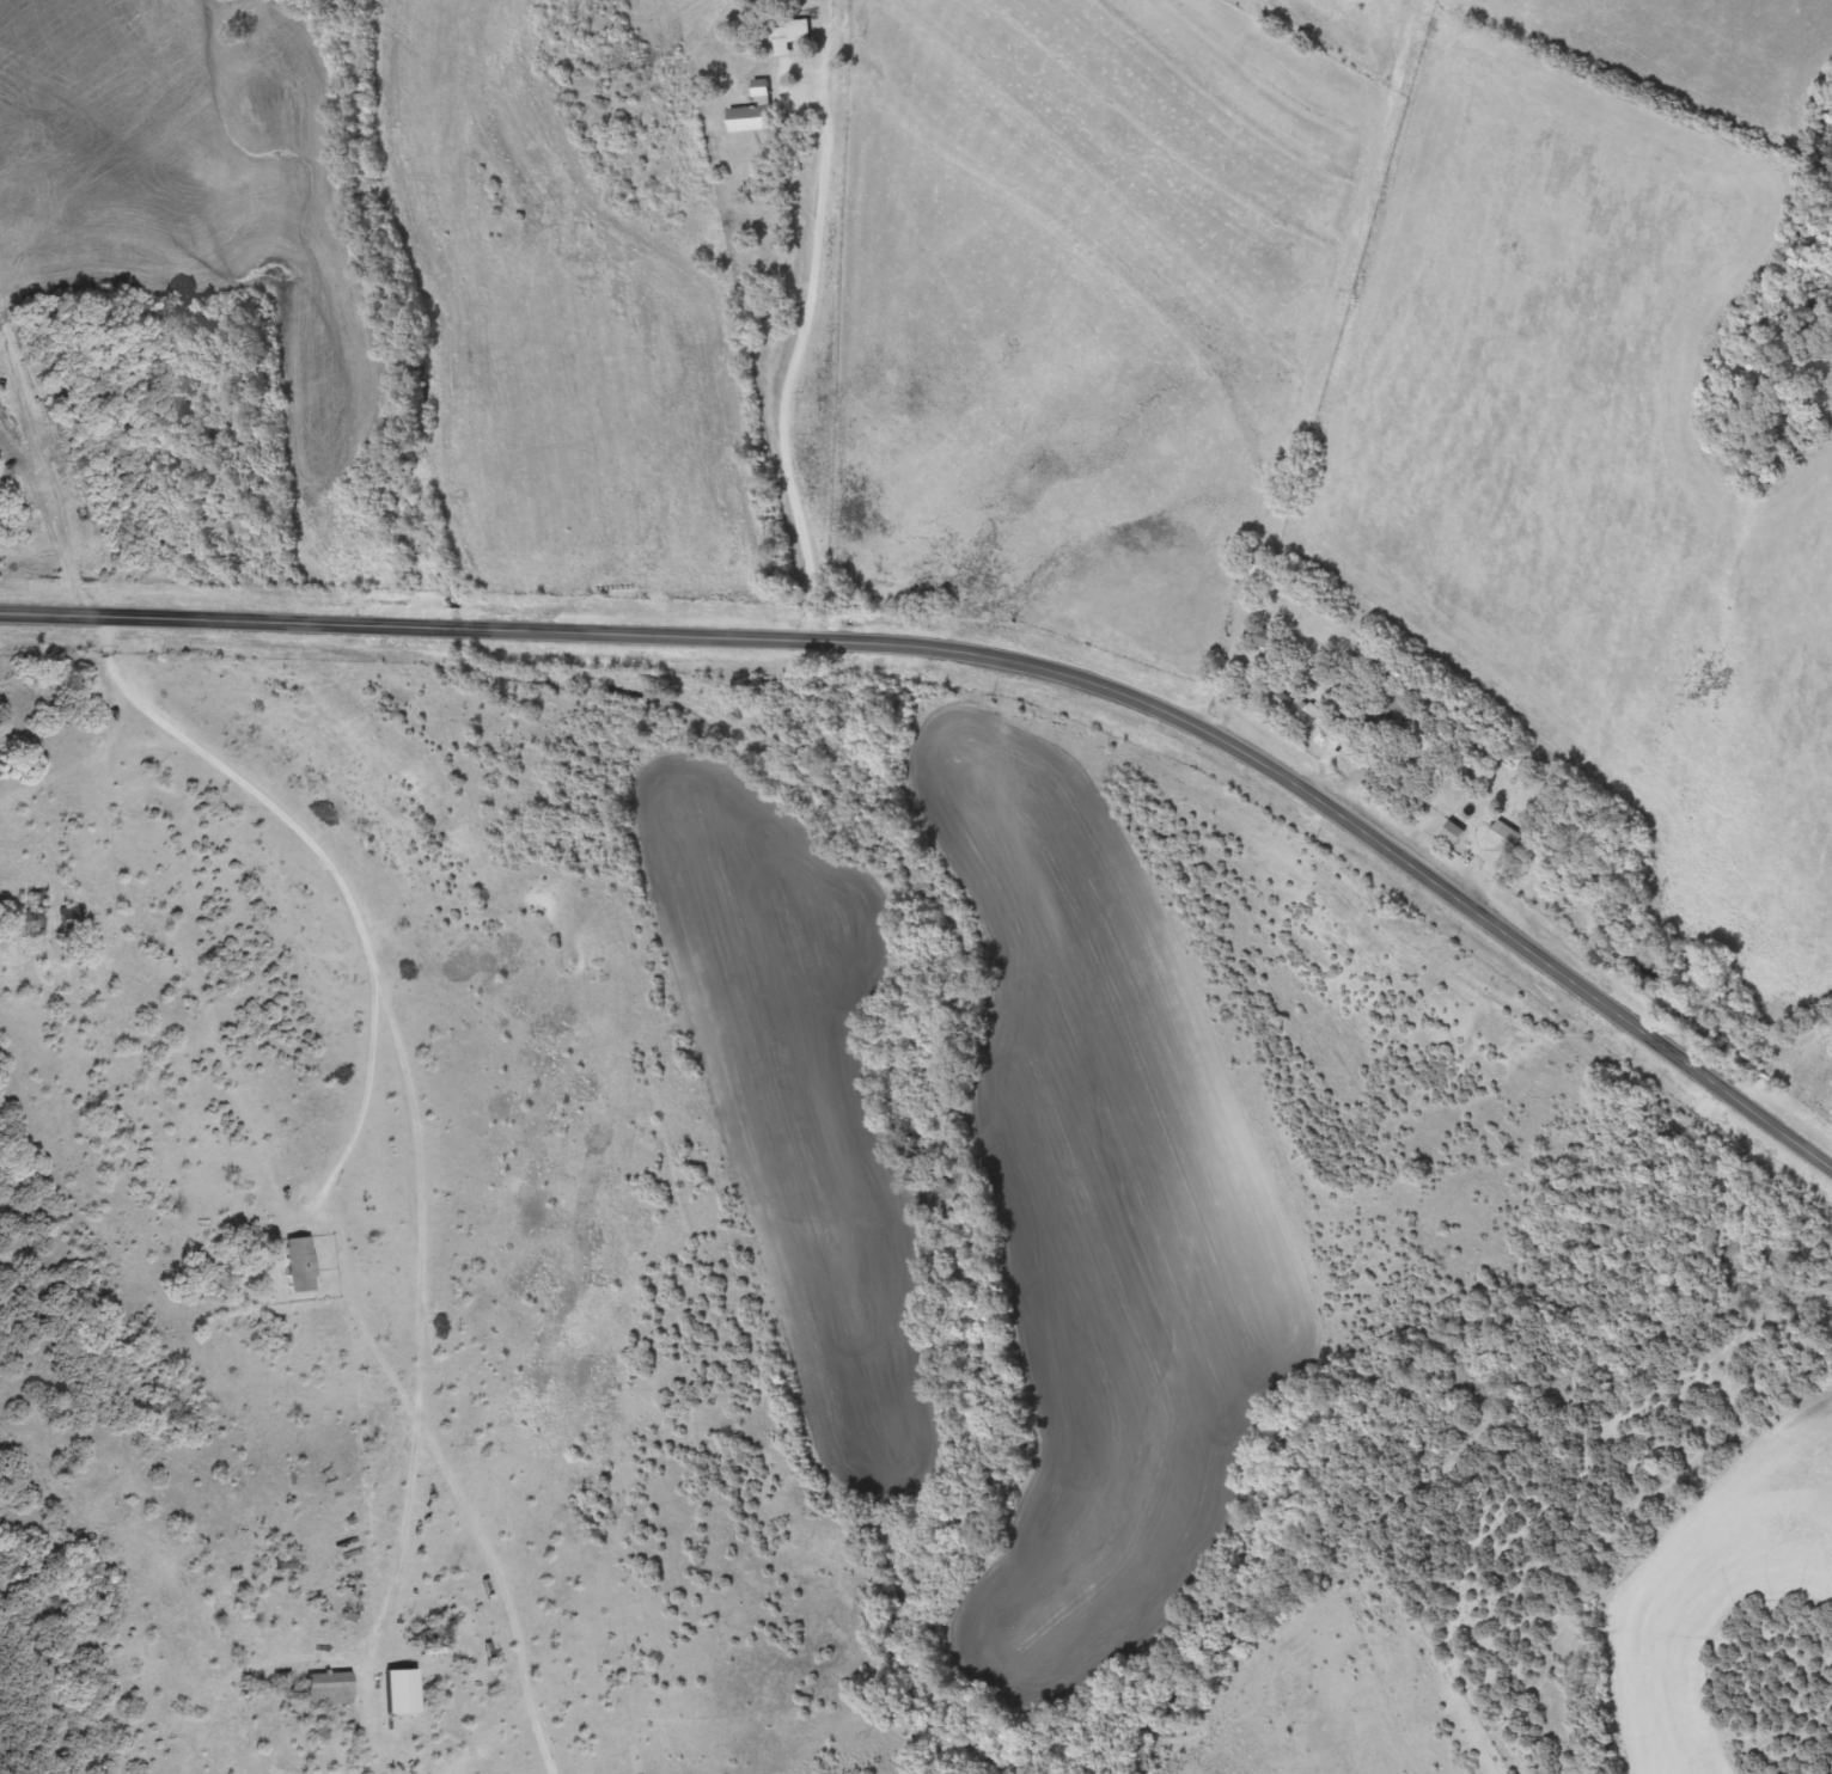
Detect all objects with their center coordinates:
building: (790, 35)
building: (756, 111)
road: (1315, 389)
building: (1268, 638)
road: (991, 653)
building: (1297, 708)
building: (1454, 832)
building: (1507, 837)
building: (30, 923)
road: (422, 1082)
building: (301, 1264)
building: (330, 1688)
building: (399, 1692)

